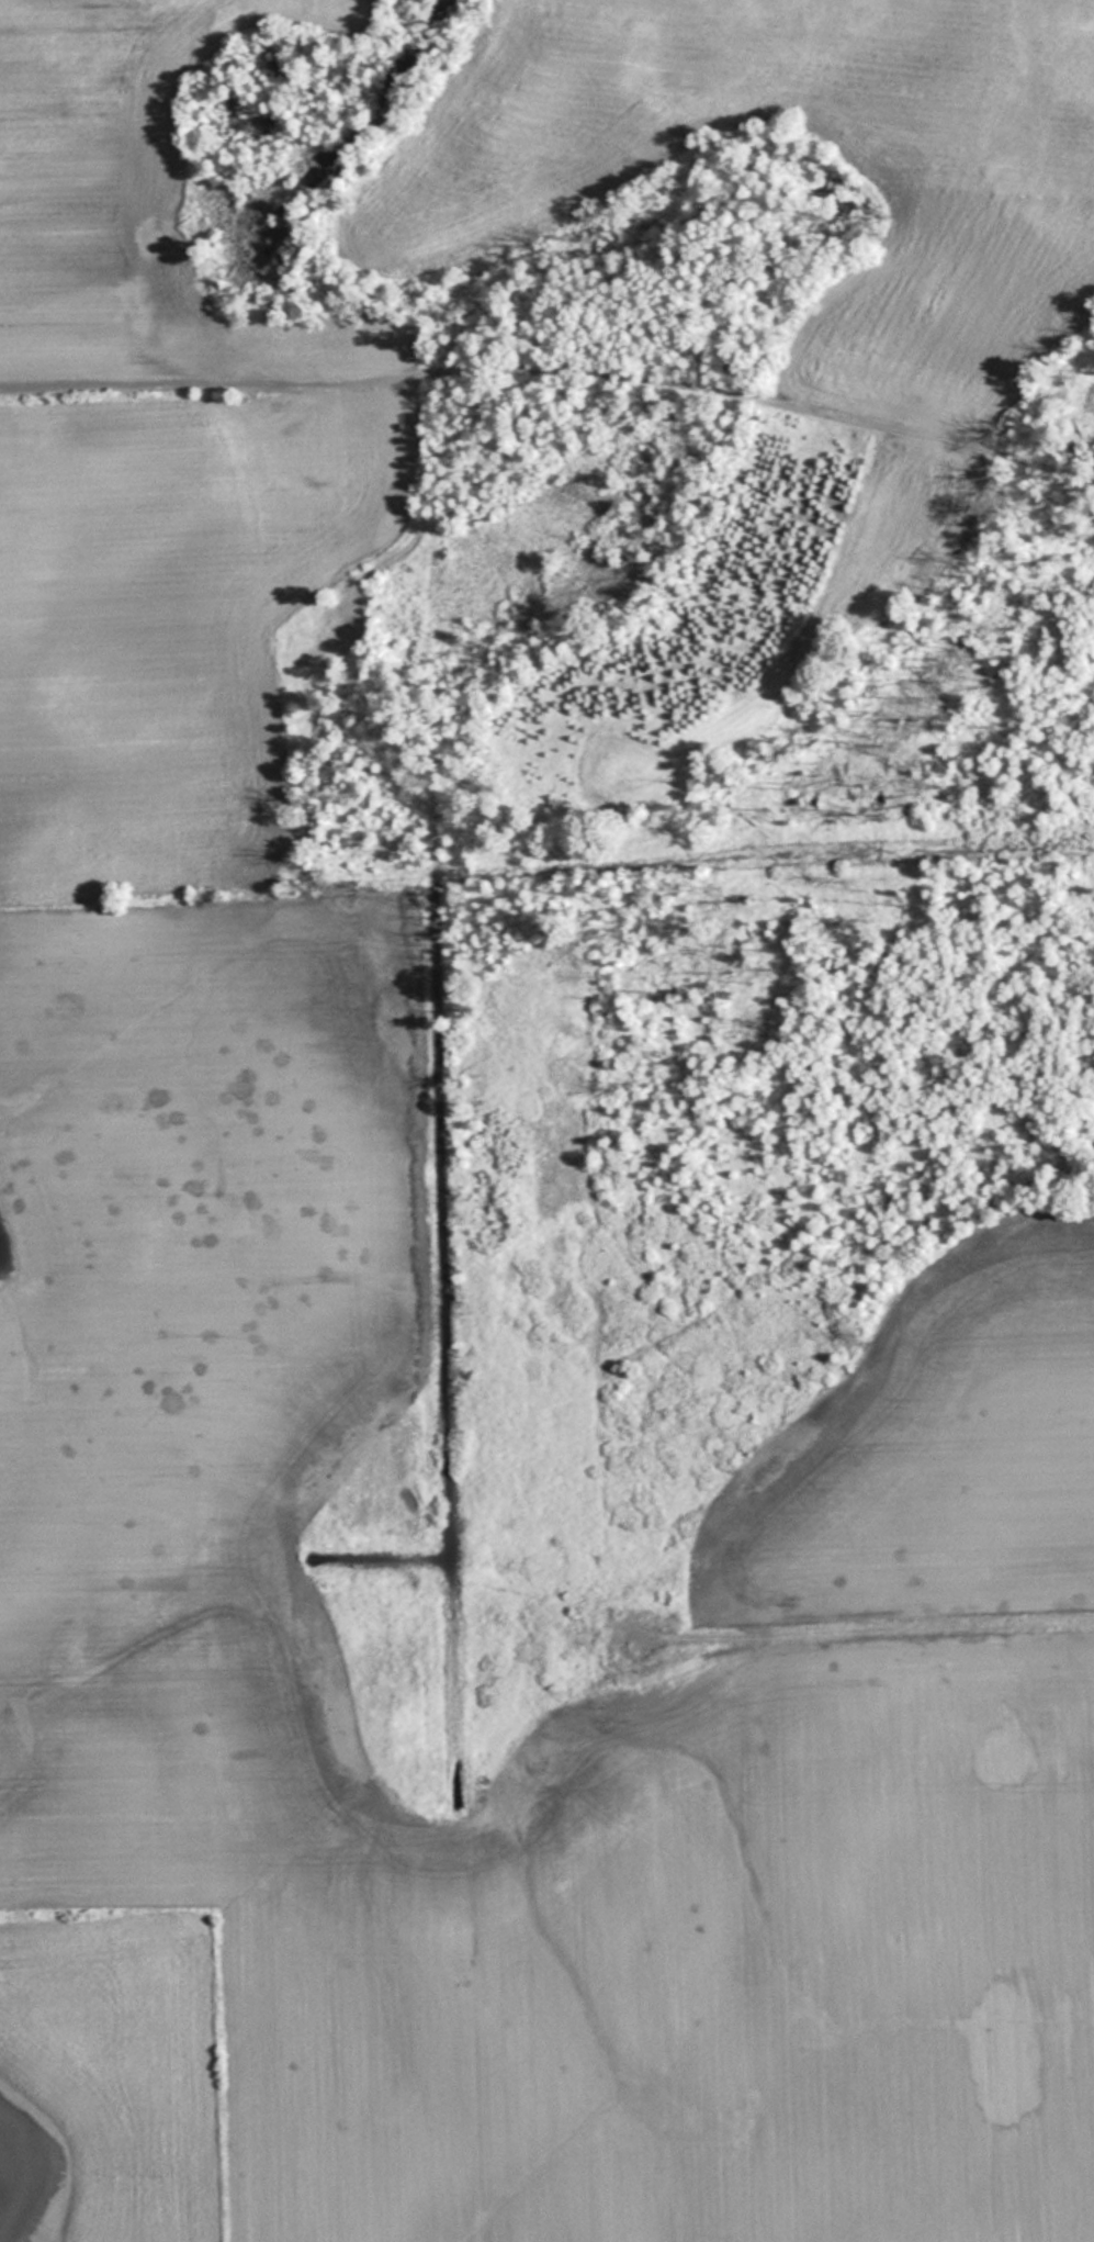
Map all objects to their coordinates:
road: (553, 362)
road: (871, 1630)

